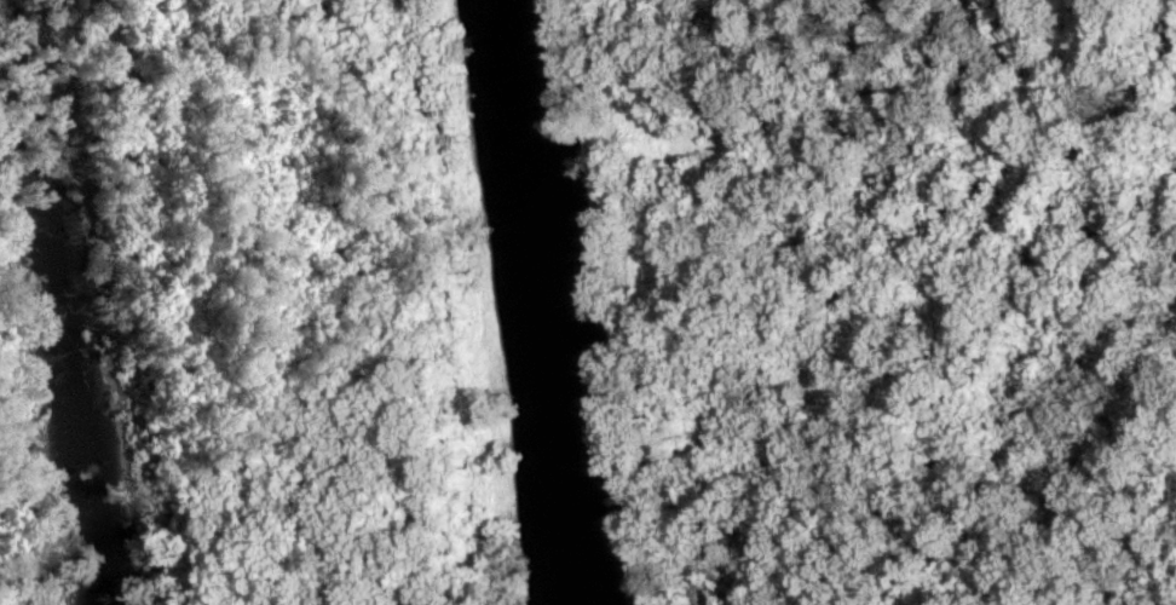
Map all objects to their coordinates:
road: (1084, 7)

